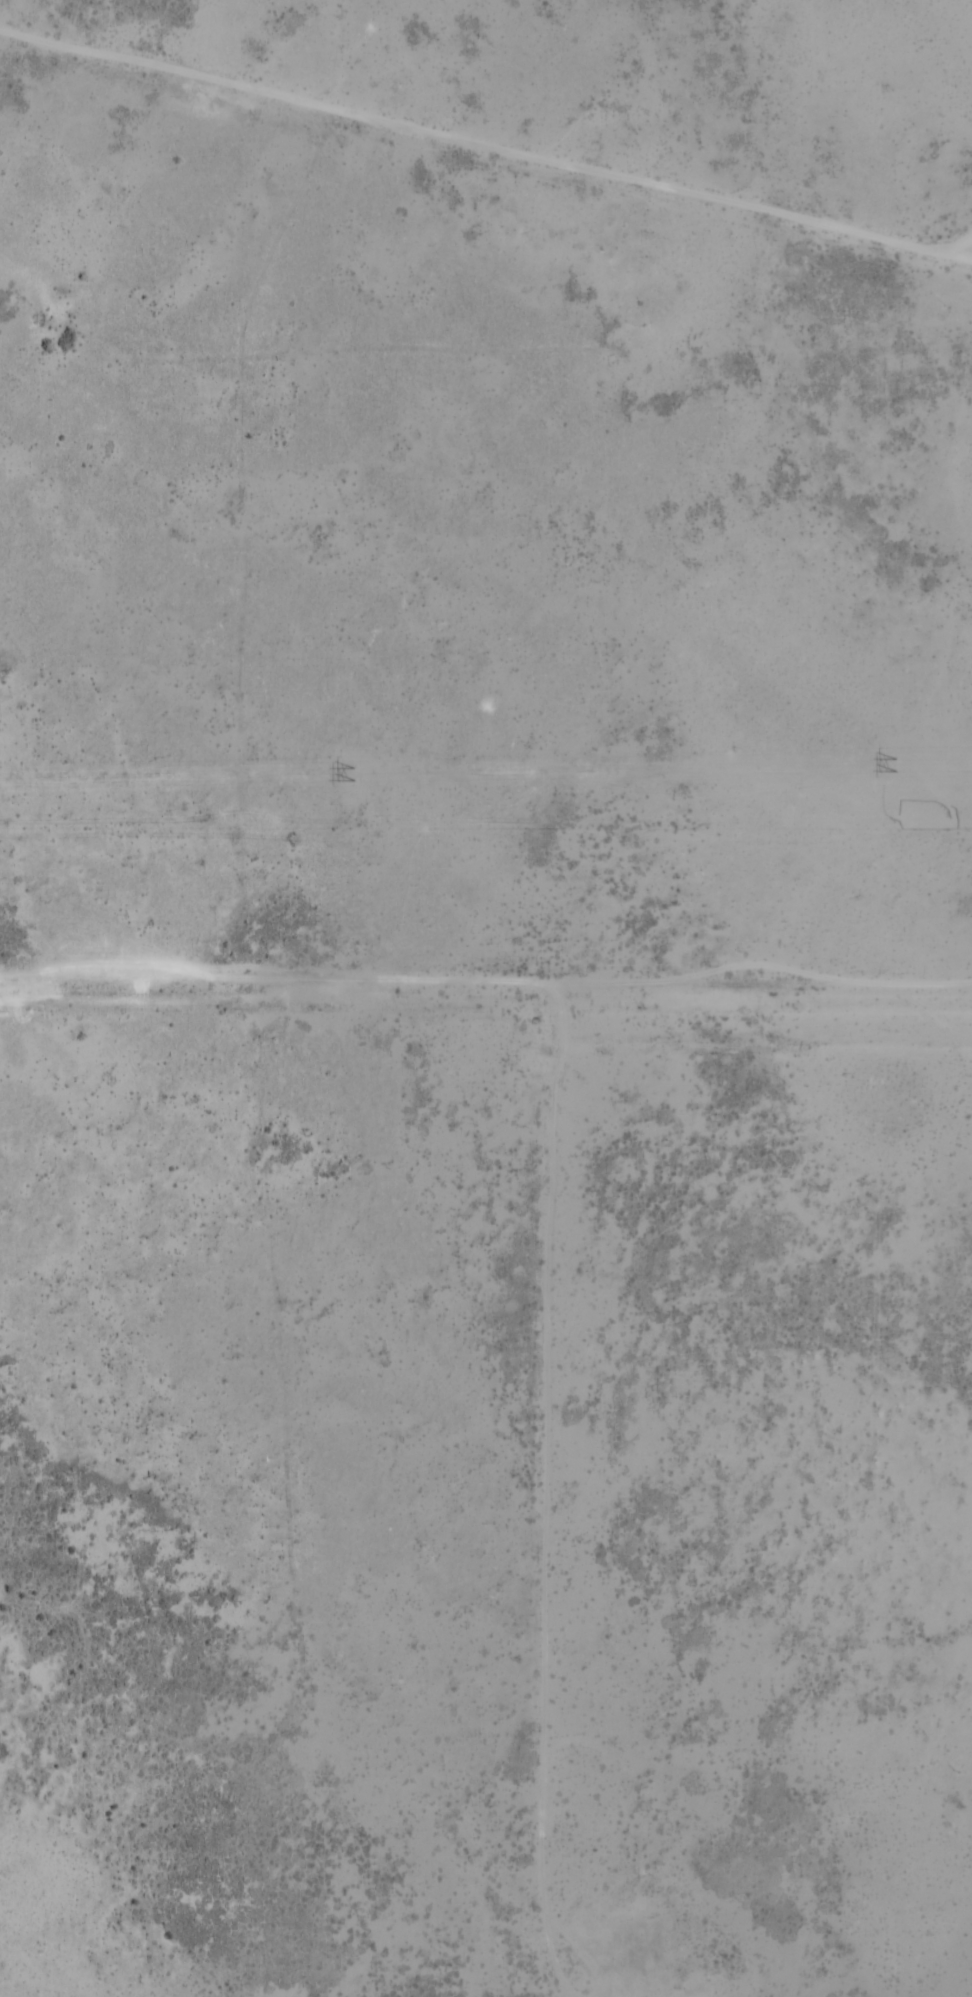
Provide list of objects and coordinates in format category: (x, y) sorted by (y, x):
road: (486, 147)
road: (946, 255)
power tower: (894, 764)
power tower: (352, 773)
road: (485, 980)

